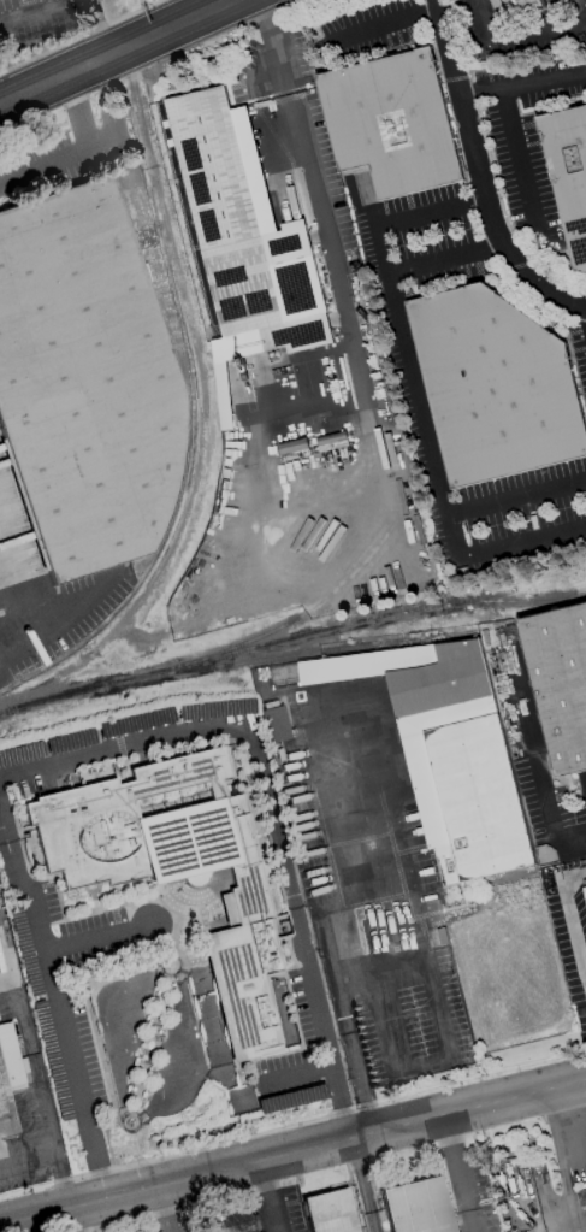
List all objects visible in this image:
building: (514, 8)
road: (185, 11)
road: (51, 13)
road: (106, 28)
road: (380, 28)
road: (529, 34)
road: (270, 47)
road: (119, 53)
road: (520, 82)
road: (78, 112)
building: (391, 123)
building: (569, 163)
road: (42, 167)
road: (520, 169)
road: (477, 176)
building: (242, 241)
road: (379, 253)
road: (326, 264)
building: (84, 382)
building: (495, 387)
road: (415, 394)
road: (450, 531)
road: (4, 601)
railway: (478, 605)
road: (61, 609)
railway: (298, 614)
road: (7, 635)
railway: (292, 639)
railway: (267, 660)
building: (560, 682)
building: (273, 724)
road: (535, 754)
building: (464, 768)
road: (271, 812)
building: (31, 847)
road: (26, 861)
building: (176, 868)
road: (19, 885)
road: (87, 891)
building: (585, 894)
road: (93, 895)
road: (206, 898)
road: (111, 906)
road: (570, 913)
road: (201, 915)
road: (182, 916)
road: (412, 947)
road: (165, 988)
road: (64, 1022)
park: (165, 1042)
road: (421, 1063)
road: (102, 1069)
road: (296, 1071)
building: (8, 1078)
road: (41, 1096)
building: (290, 1098)
road: (223, 1143)
road: (292, 1154)
road: (28, 1157)
road: (560, 1161)
road: (458, 1173)
road: (362, 1185)
road: (267, 1197)
building: (415, 1207)
road: (164, 1209)
building: (328, 1213)
road: (77, 1220)
road: (244, 1225)

